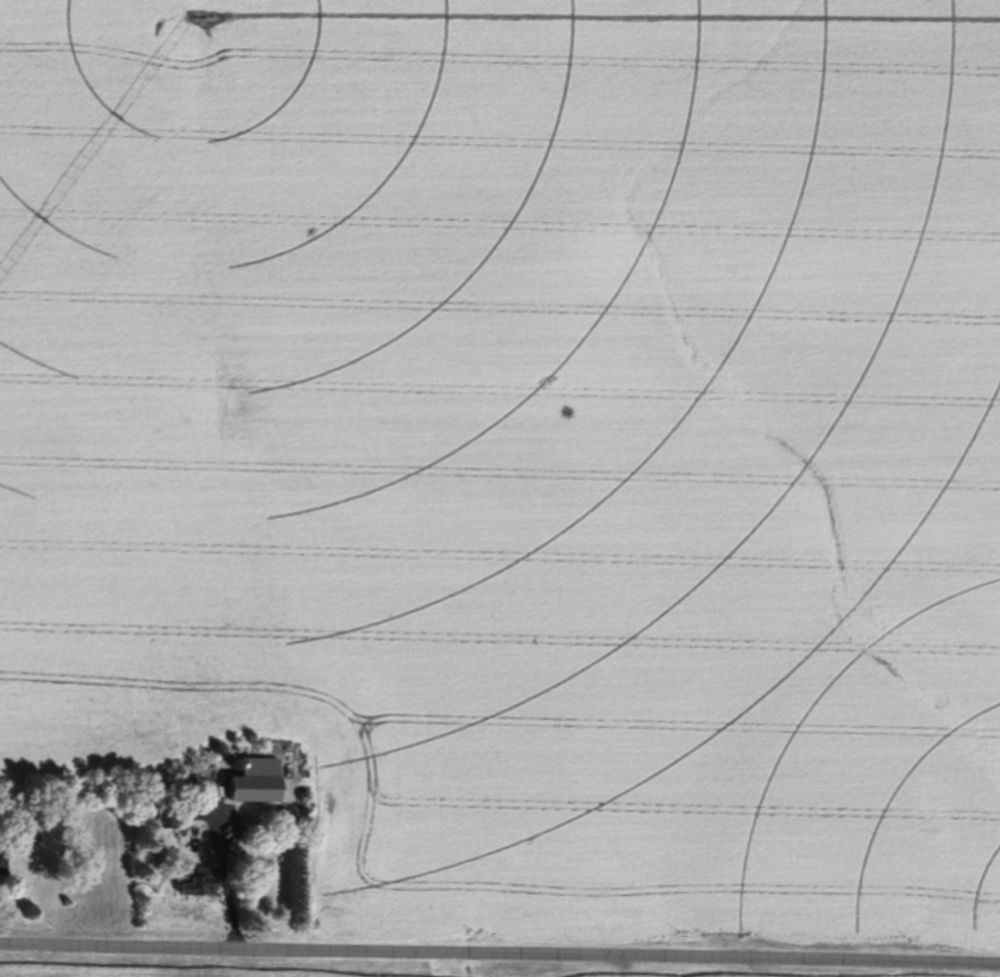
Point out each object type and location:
building: (247, 779)
building: (1, 862)
building: (196, 881)
road: (500, 949)

